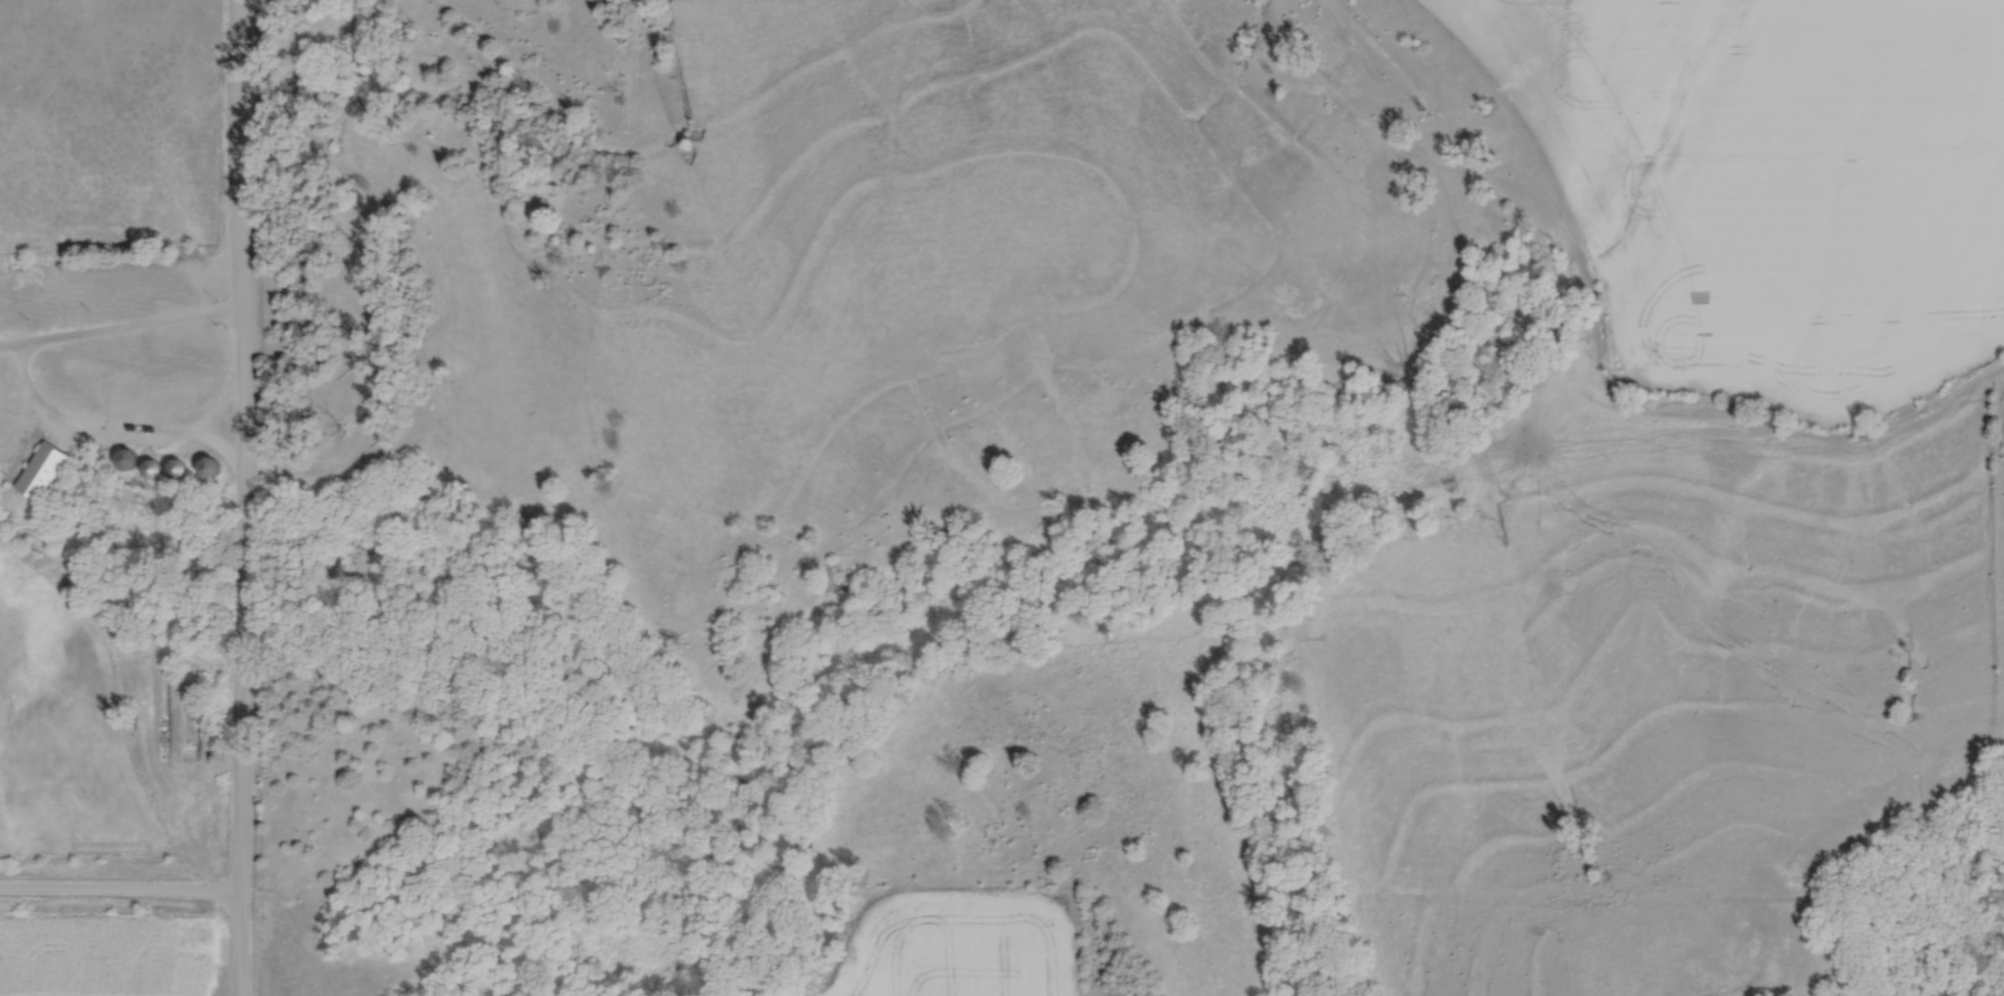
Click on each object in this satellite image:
road: (237, 154)
road: (121, 329)
building: (212, 464)
building: (44, 467)
road: (241, 651)
road: (120, 890)

